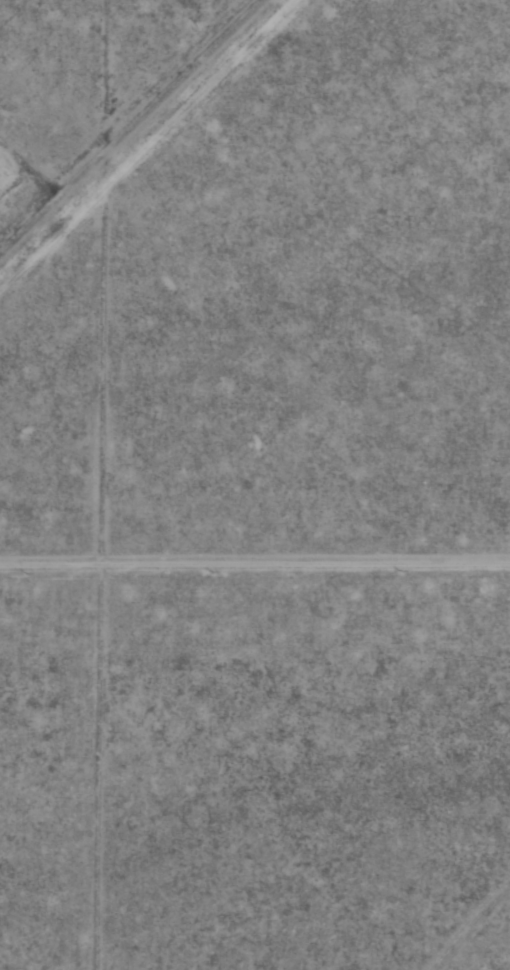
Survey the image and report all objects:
airport: (484, 942)

